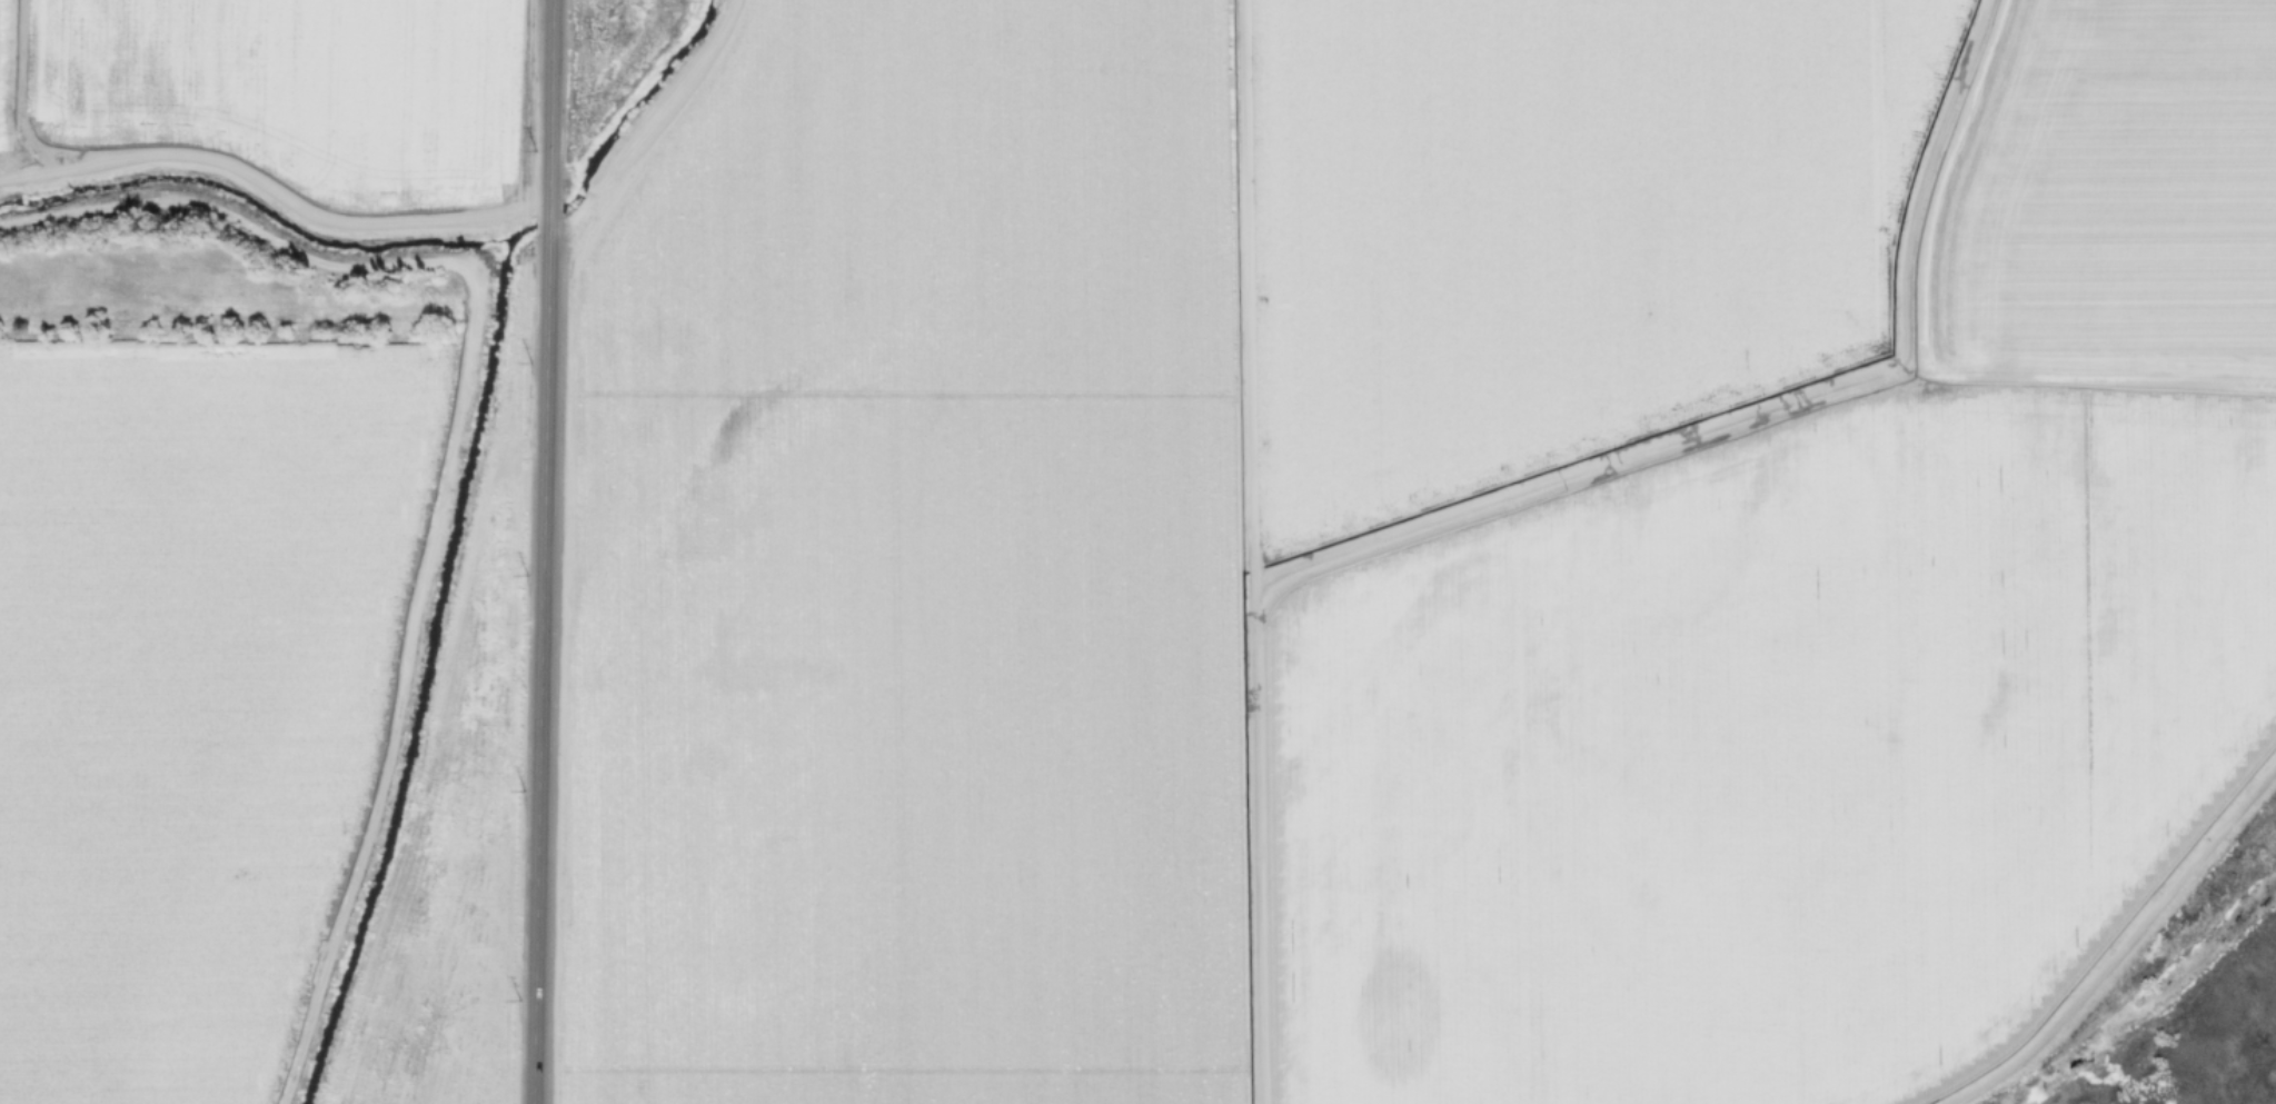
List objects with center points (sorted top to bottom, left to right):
road: (19, 91)
road: (649, 132)
road: (277, 191)
road: (444, 452)
road: (1460, 511)
road: (544, 551)
road: (1253, 853)
road: (2119, 945)

